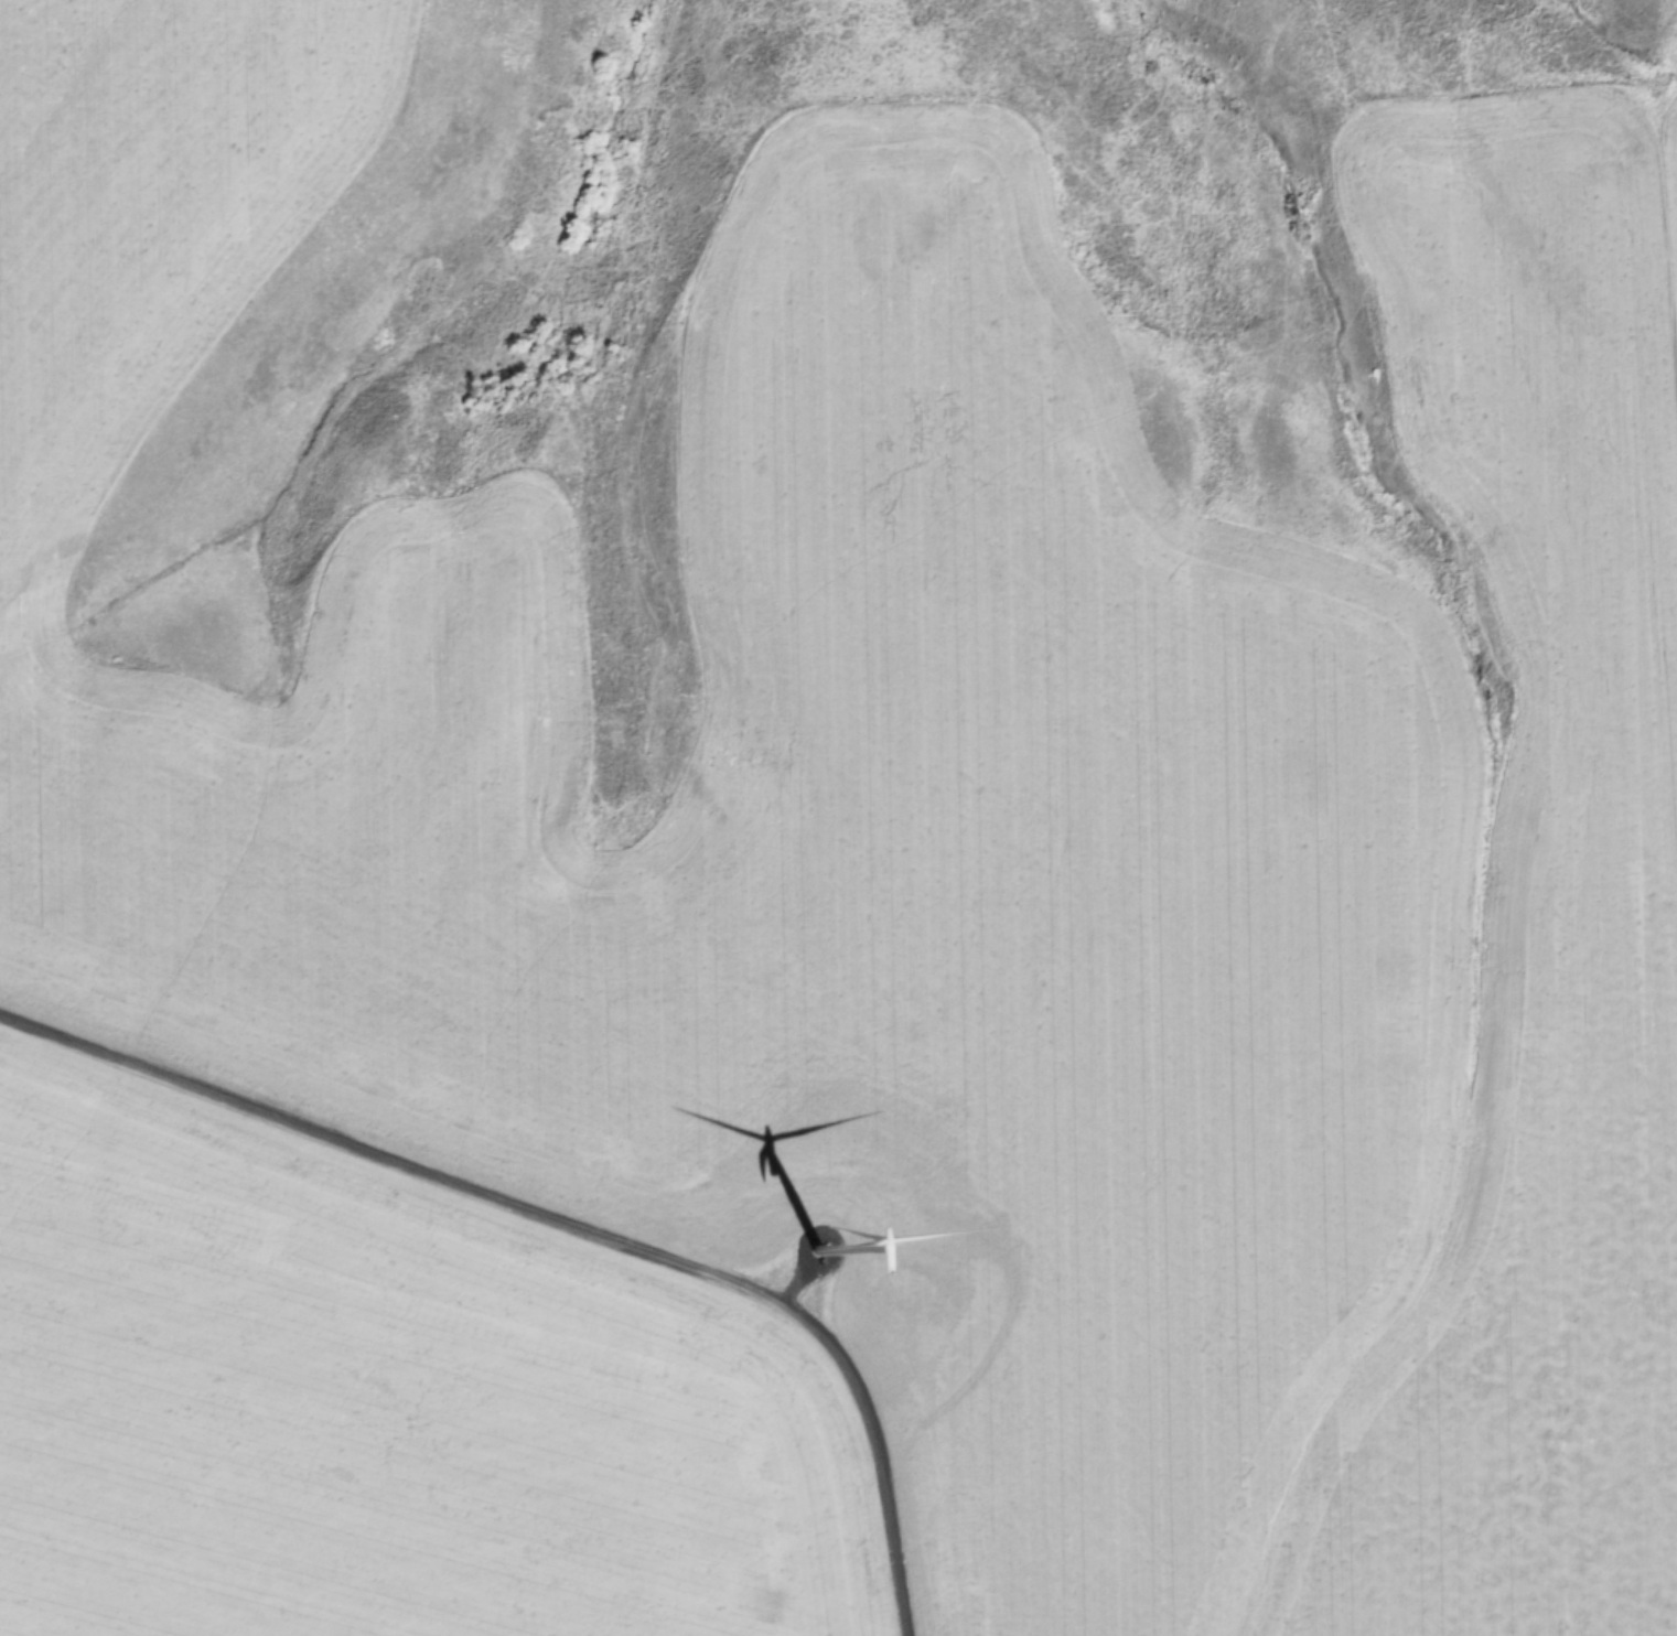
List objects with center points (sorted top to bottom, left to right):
wind turbine: (811, 1247)

